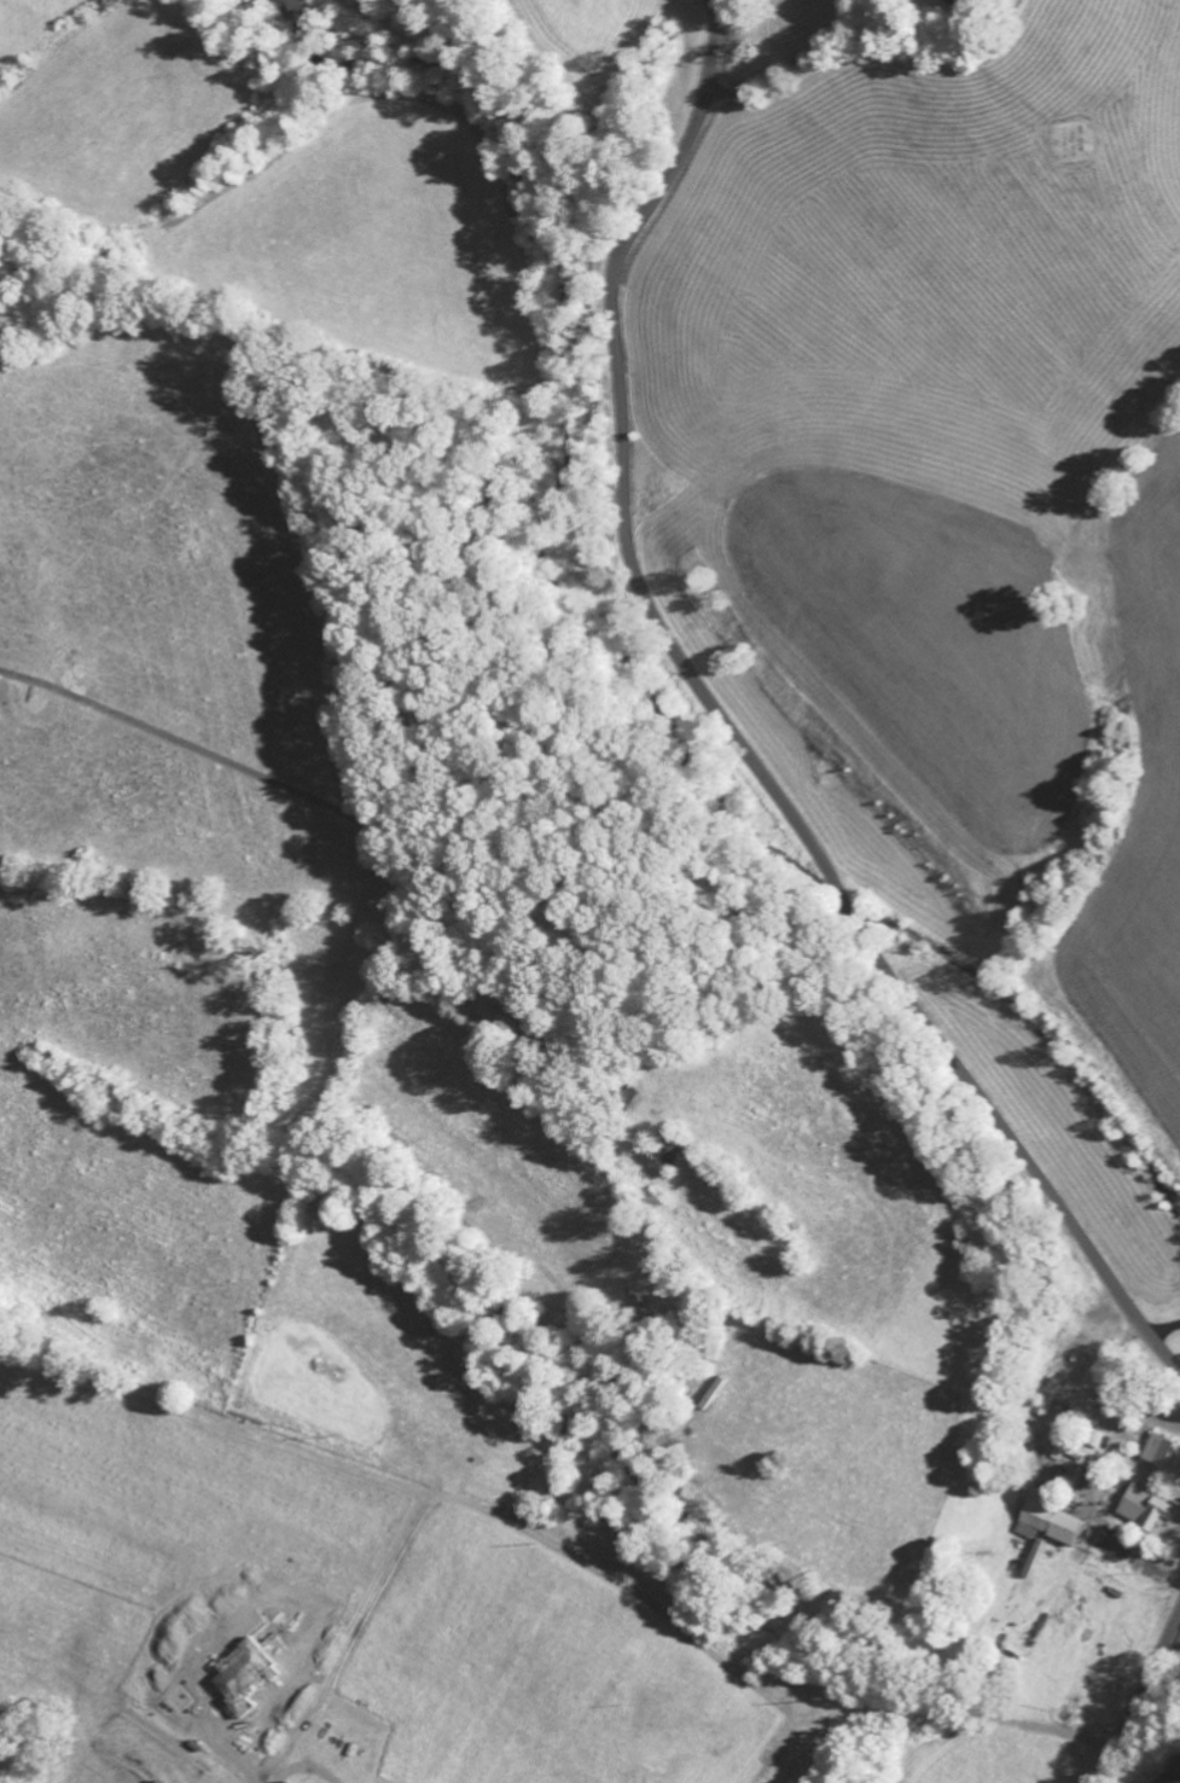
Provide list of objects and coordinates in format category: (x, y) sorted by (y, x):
building: (963, 4)
road: (845, 121)
road: (732, 731)
building: (1163, 1456)
building: (1147, 1512)
building: (1046, 1524)
road: (935, 1631)
road: (1137, 1698)

